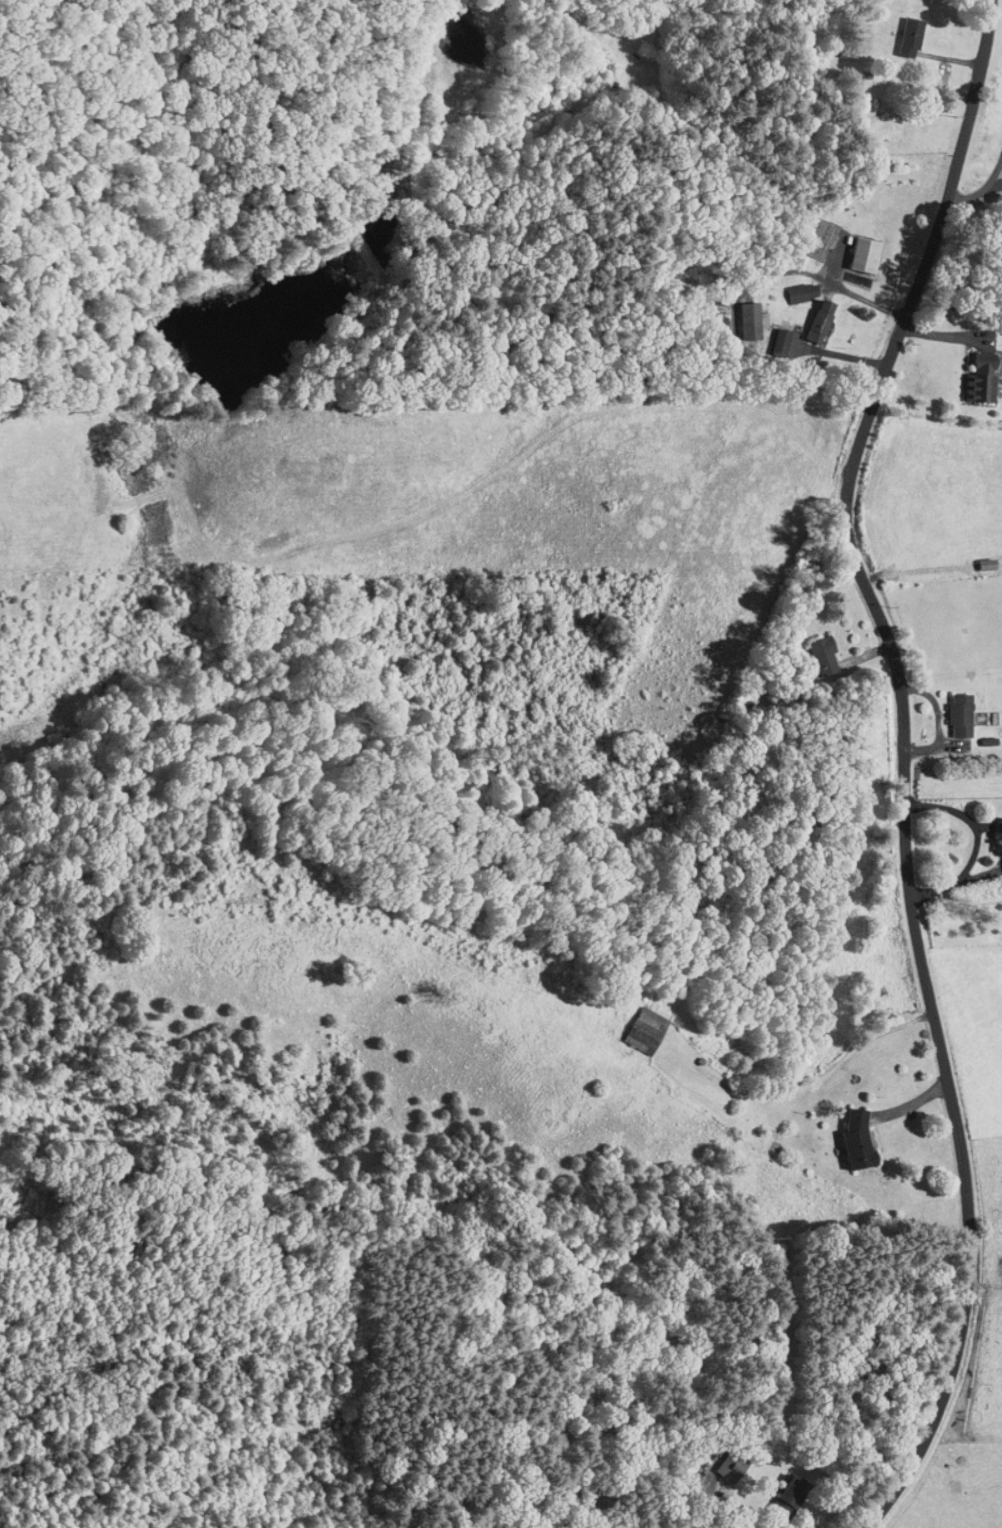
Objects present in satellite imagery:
road: (981, 192)
road: (822, 280)
road: (905, 763)
road: (813, 1084)

